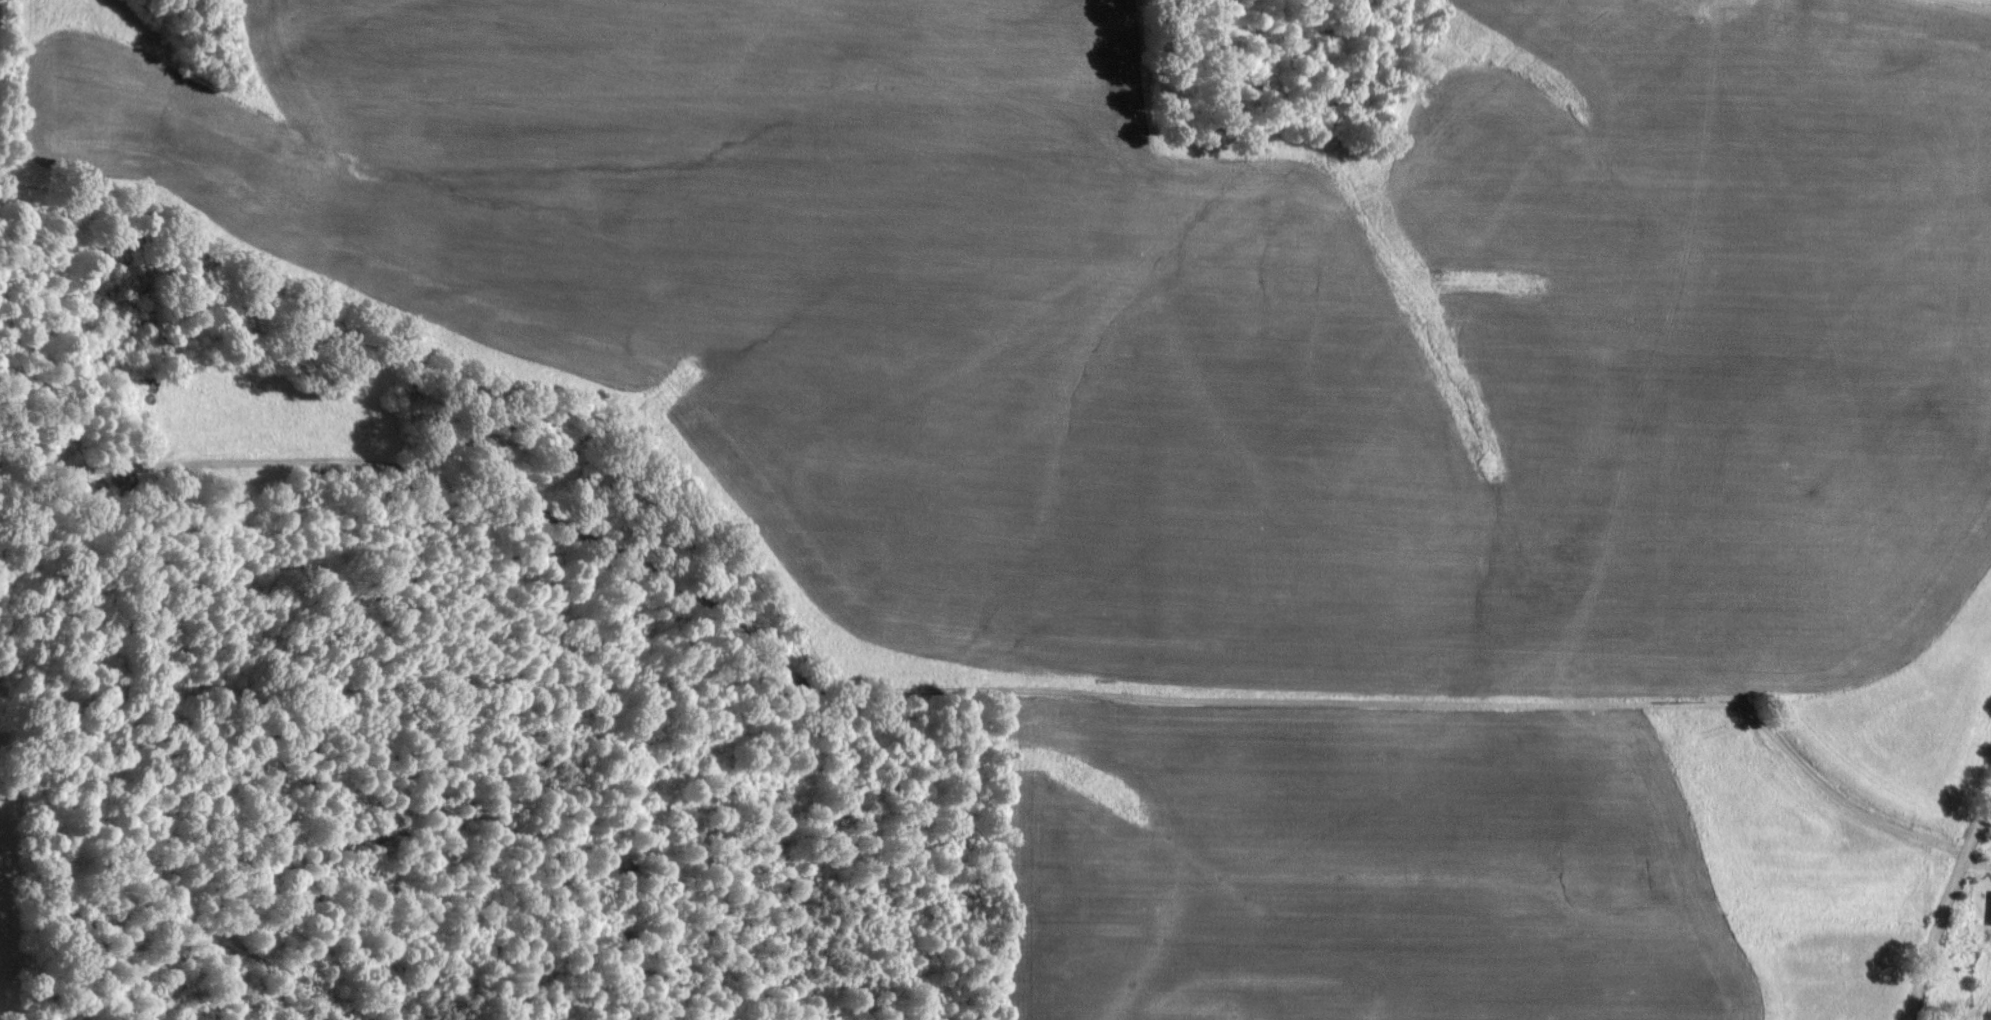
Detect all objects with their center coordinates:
road: (1946, 905)

